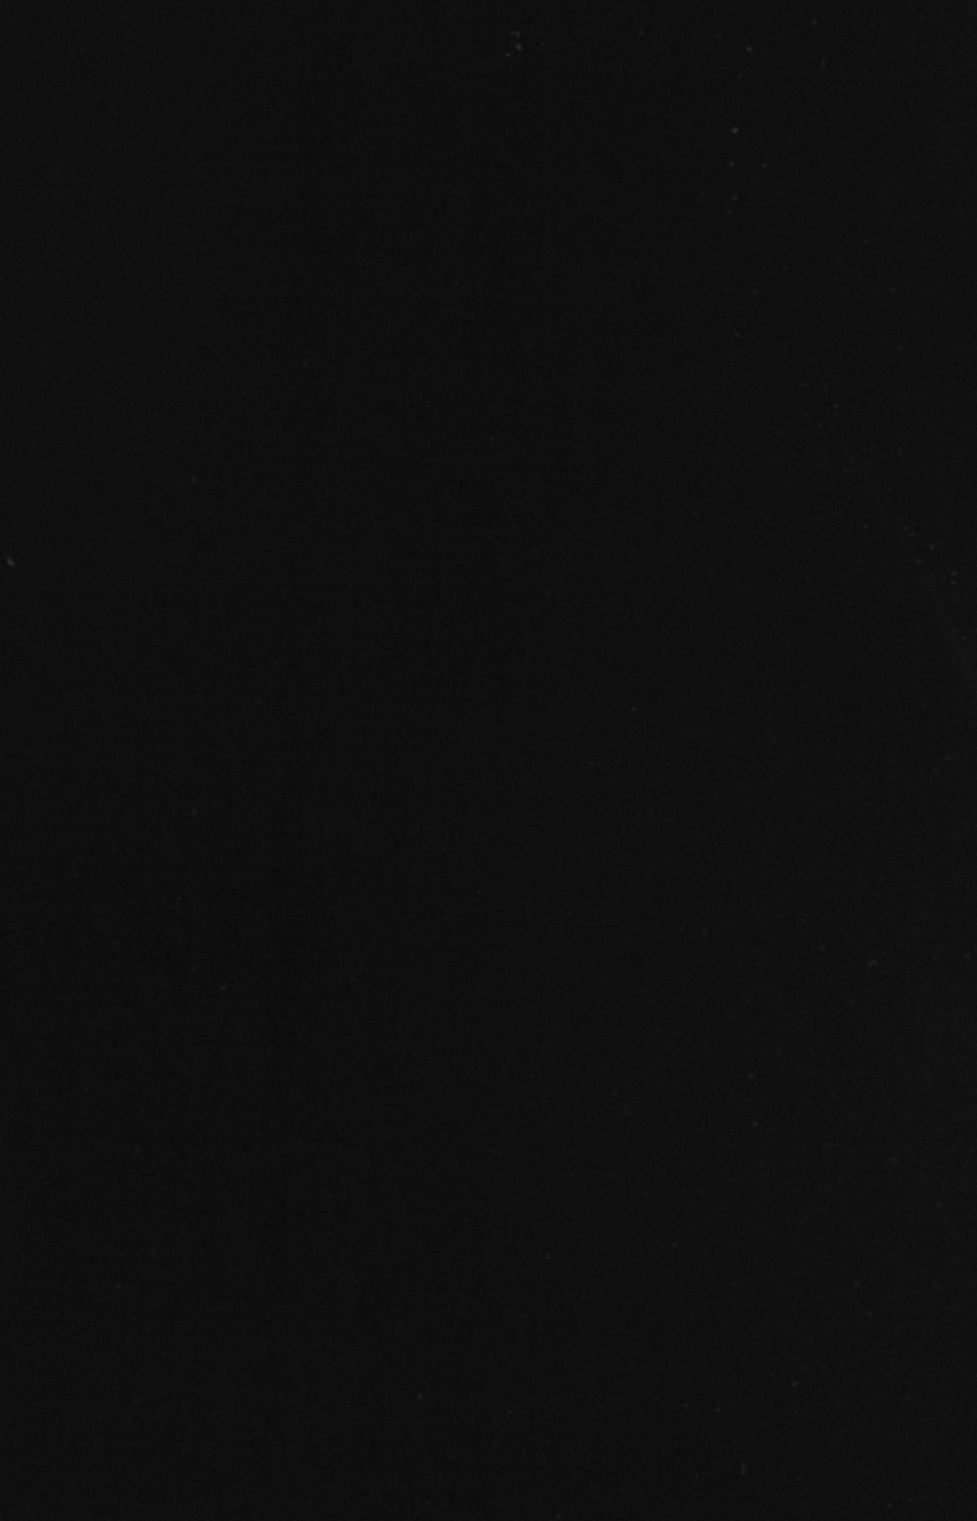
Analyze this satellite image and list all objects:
river: (346, 911)

